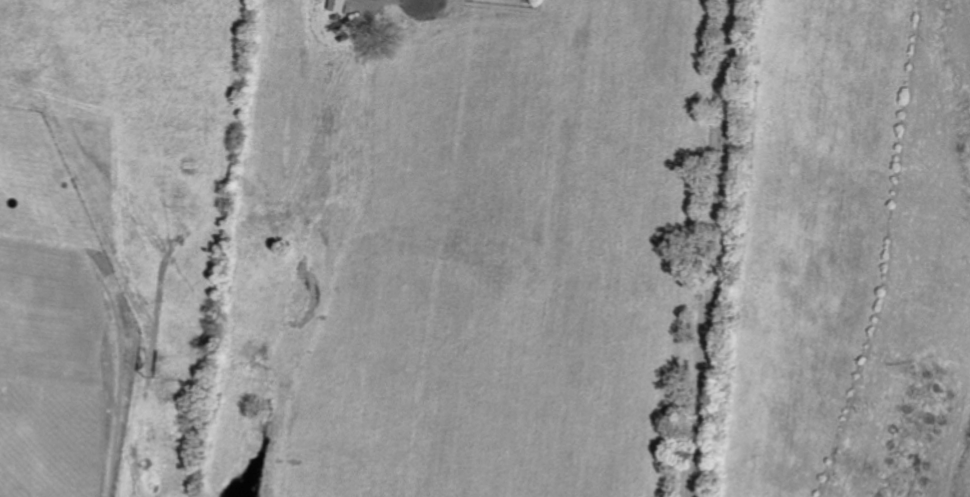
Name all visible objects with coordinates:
building: (337, 5)
road: (707, 248)

